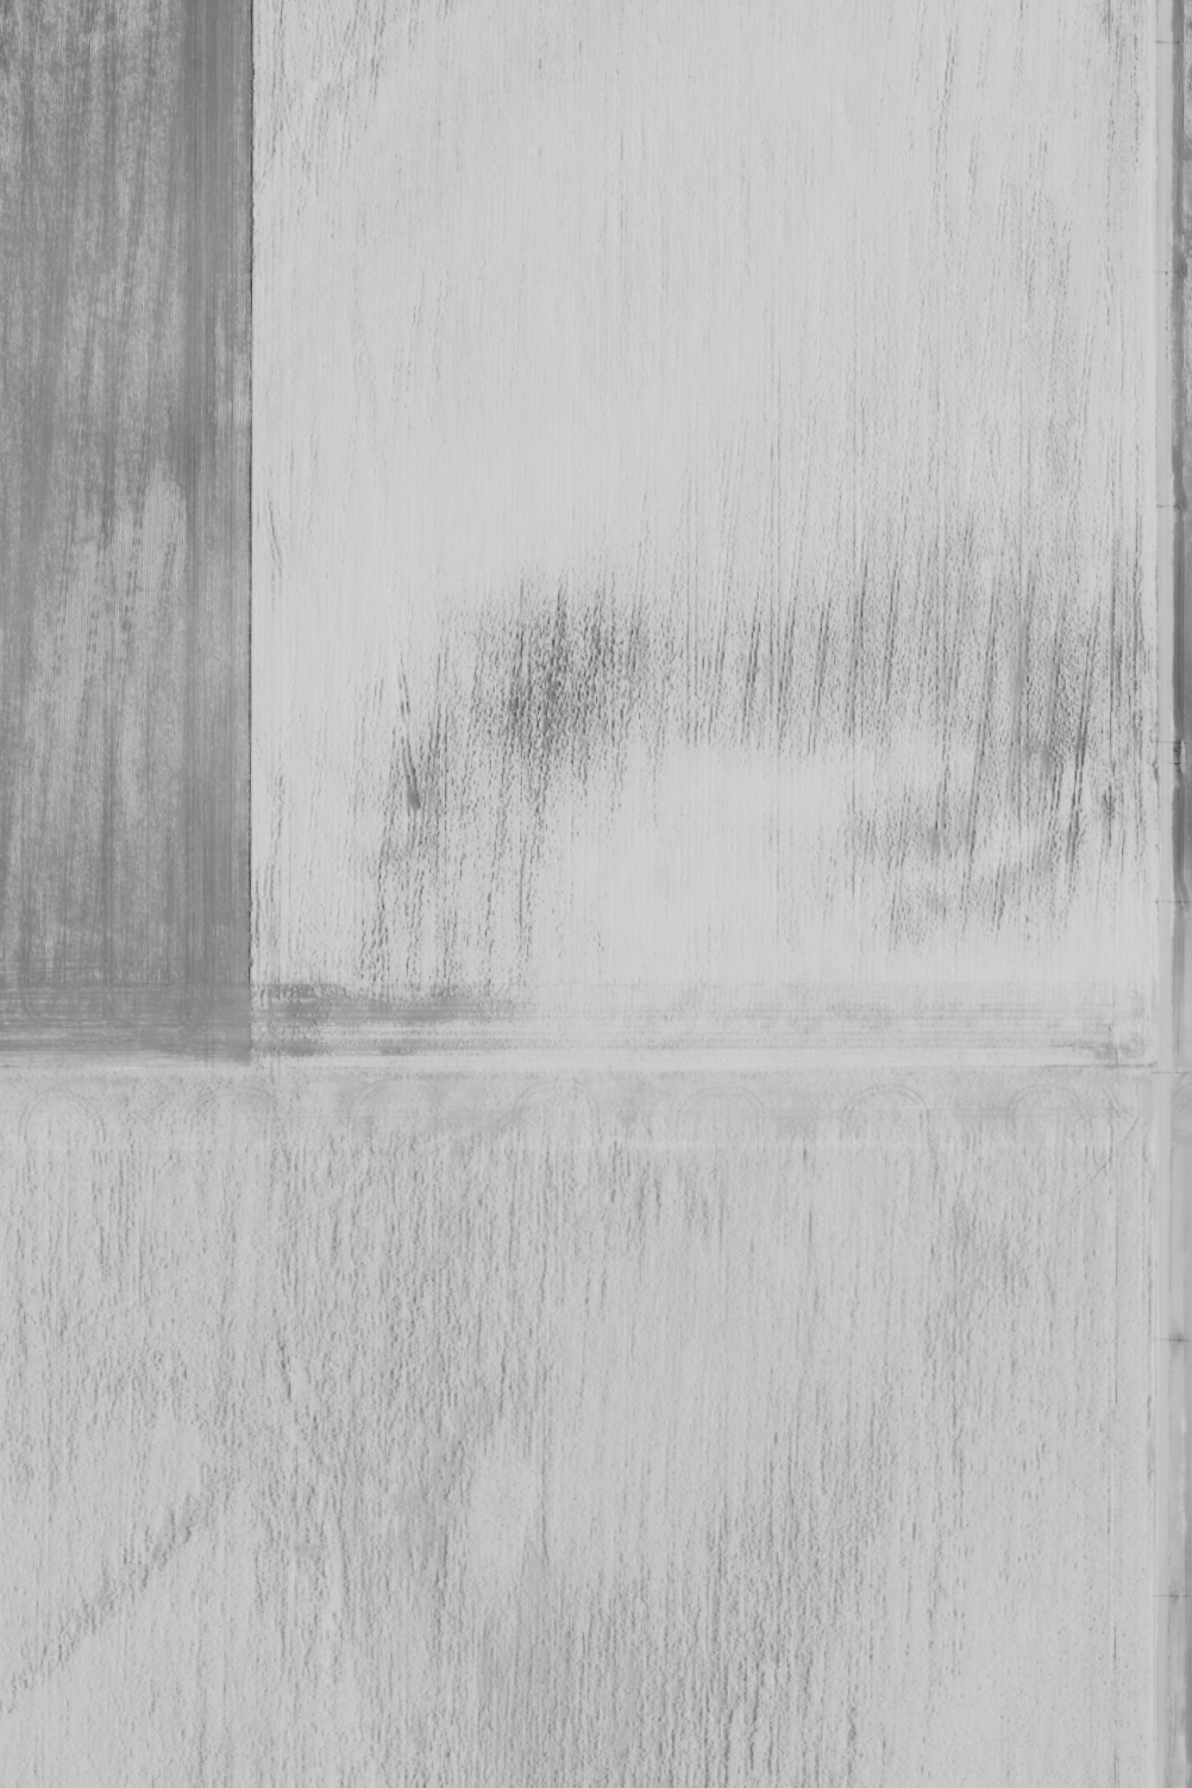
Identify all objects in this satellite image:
road: (1152, 894)

